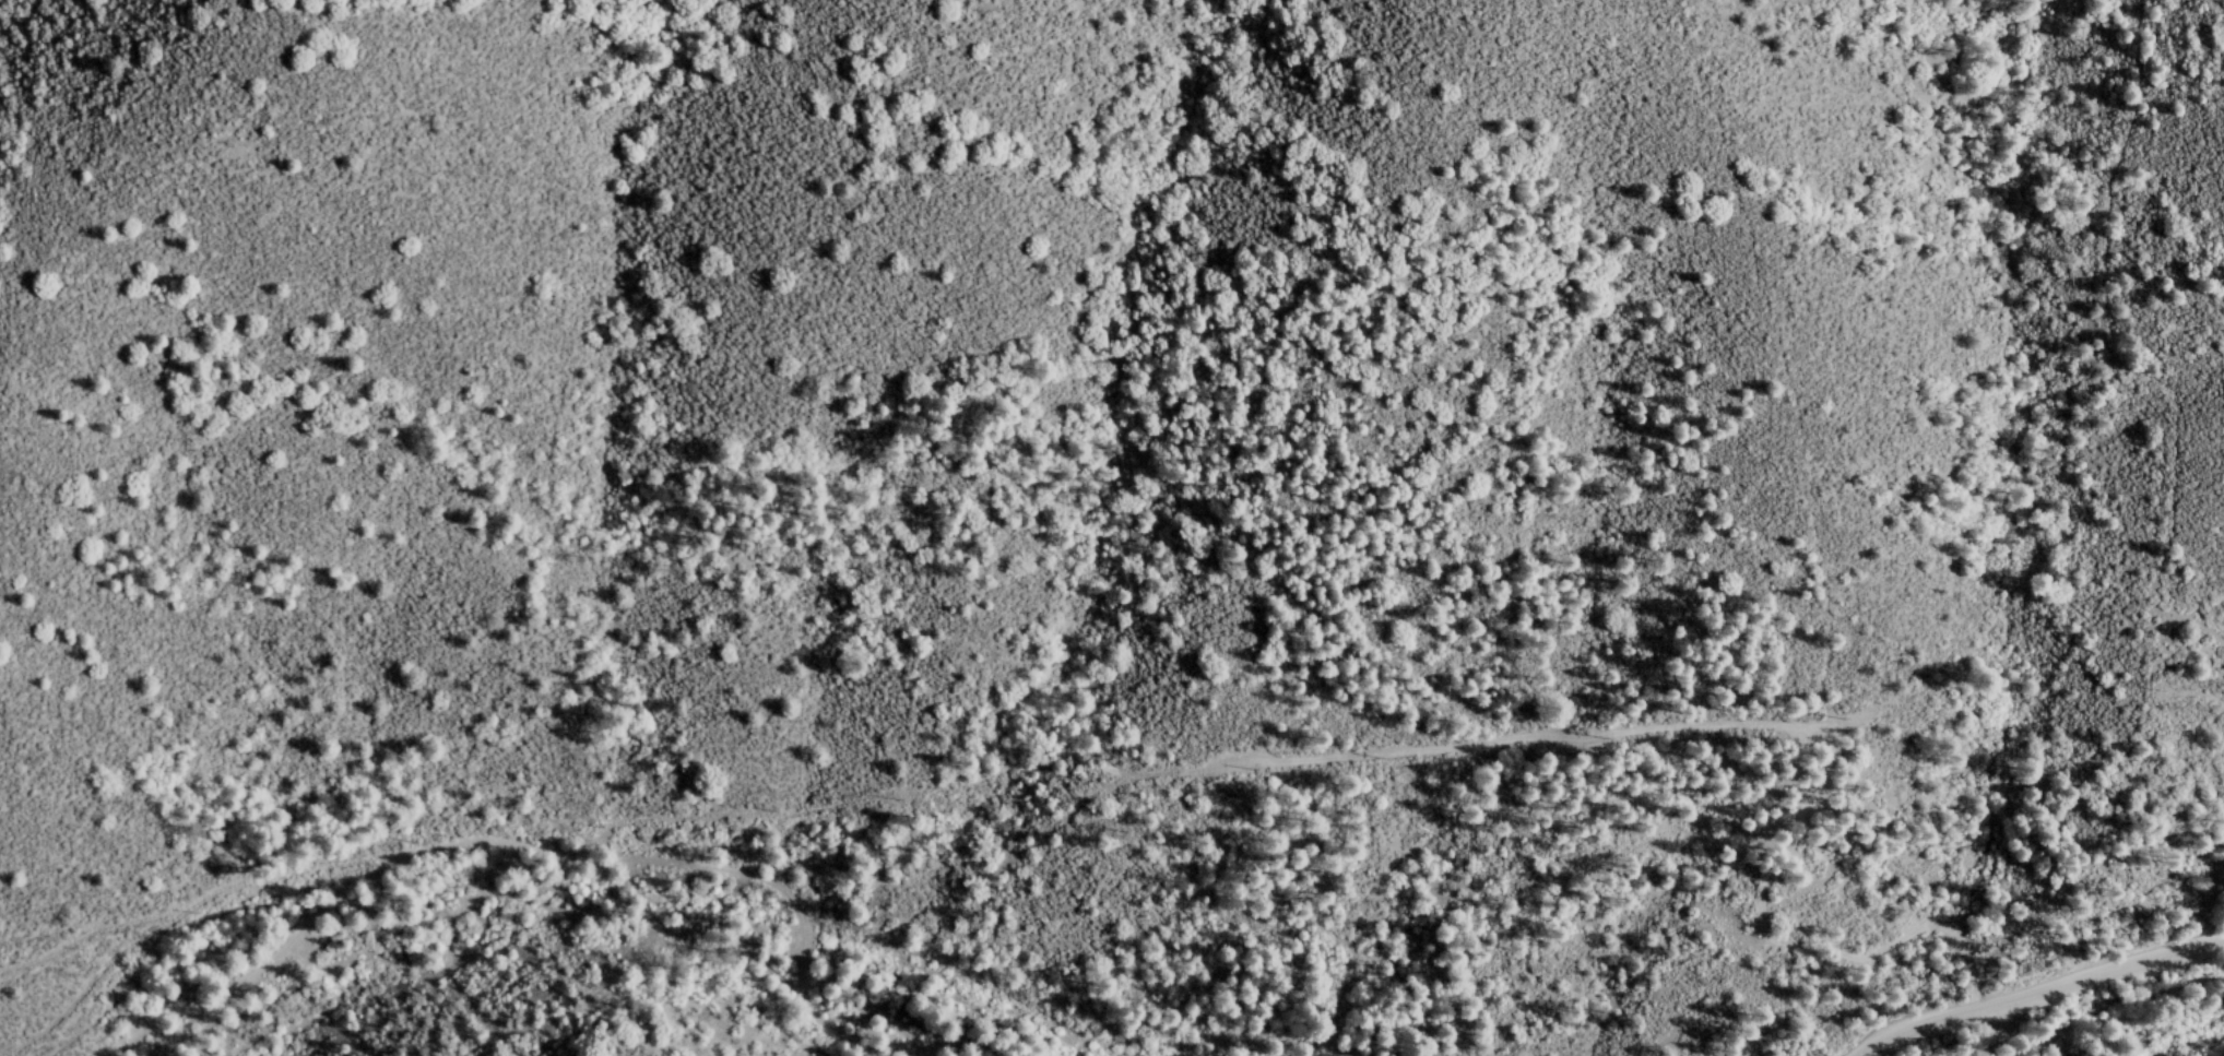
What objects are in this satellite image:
road: (2044, 993)

